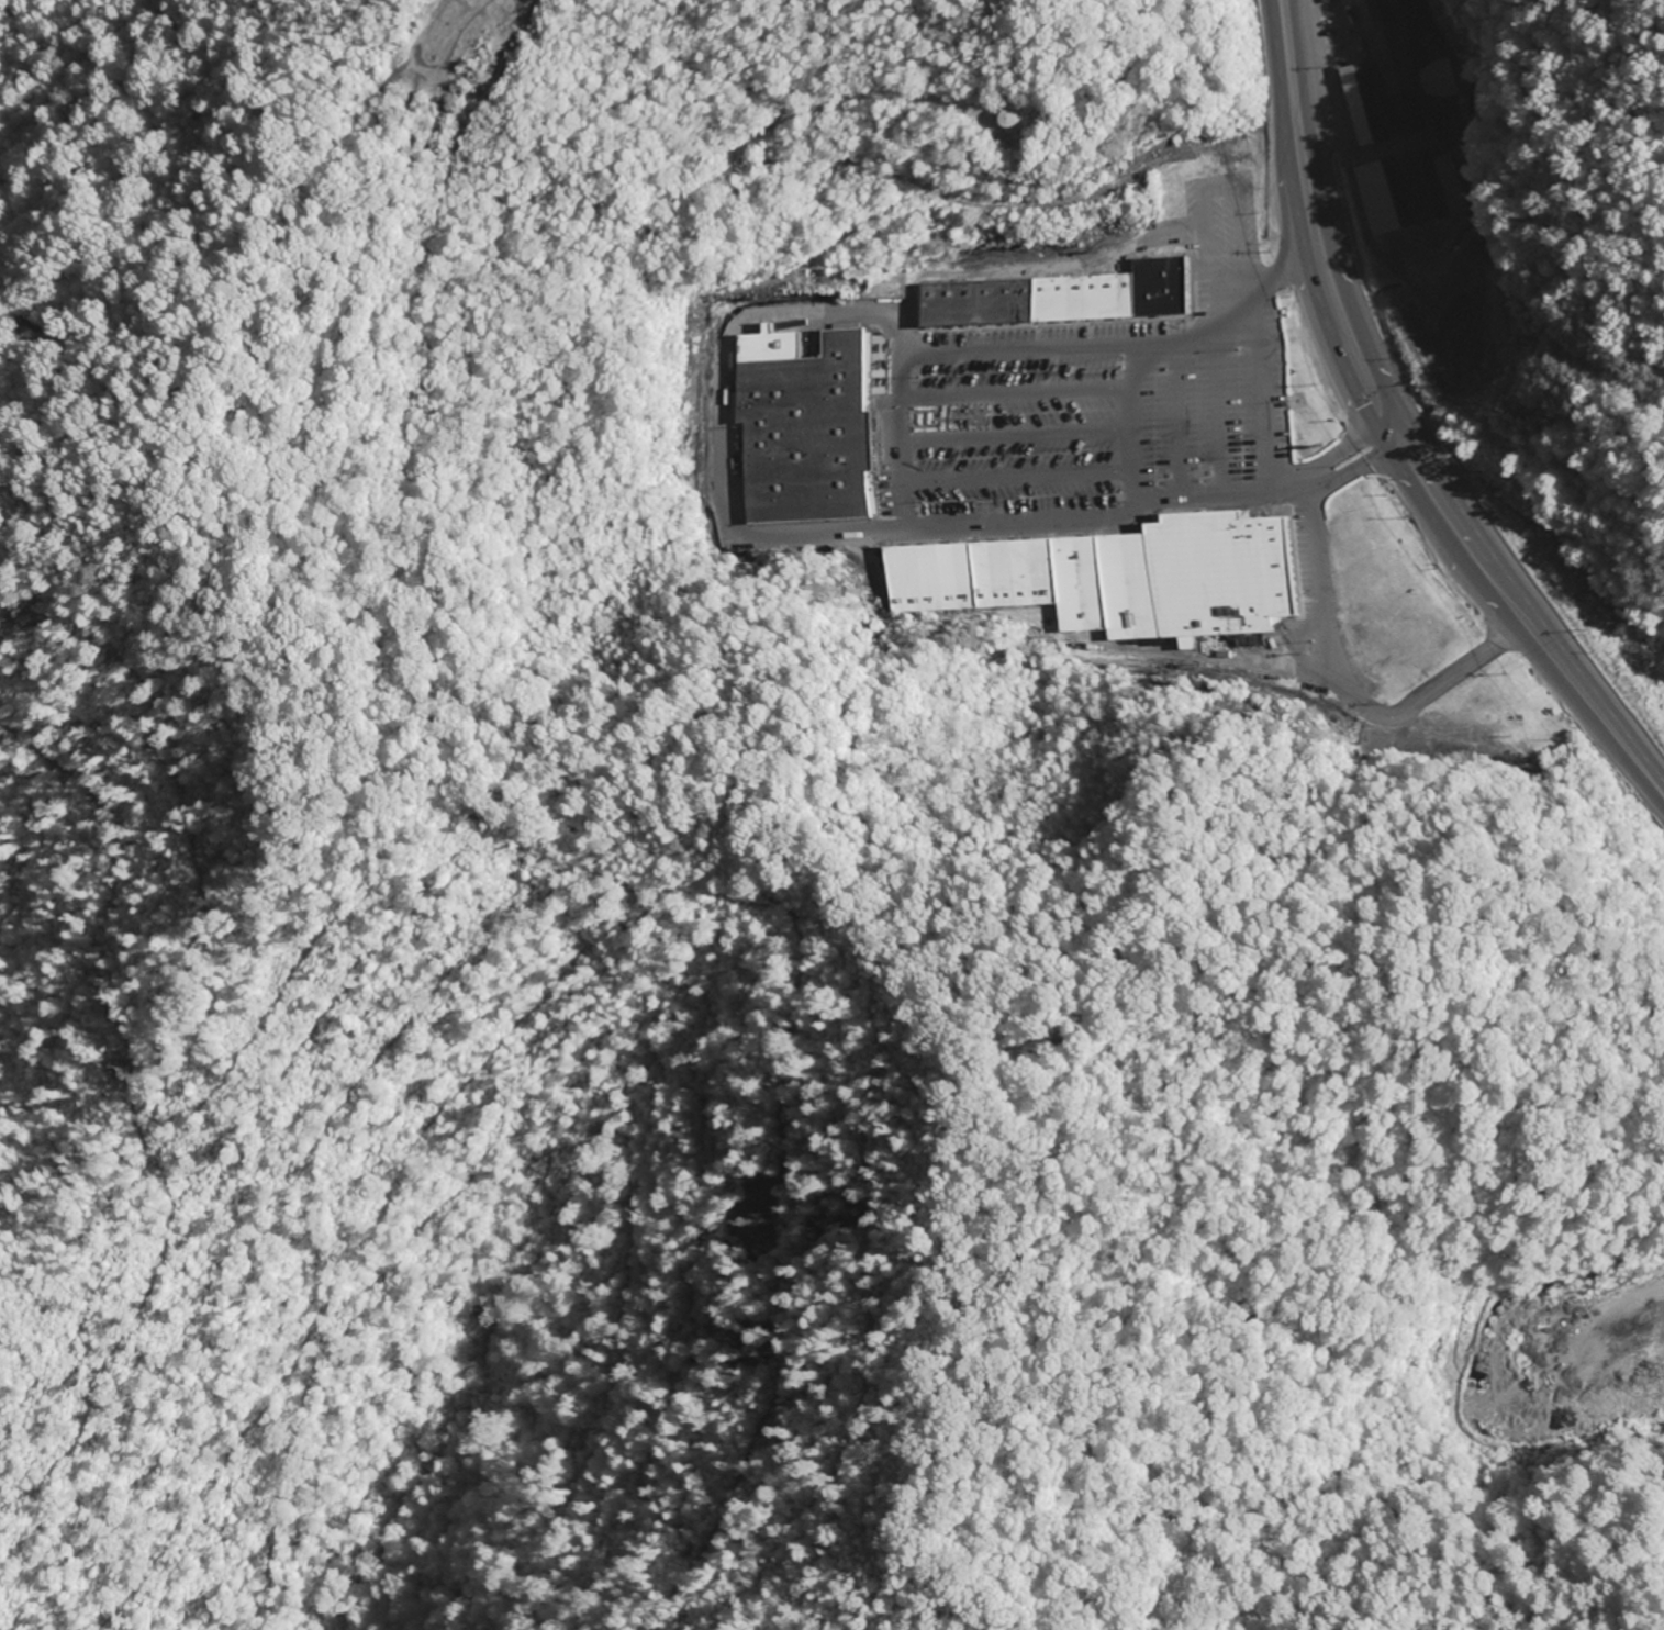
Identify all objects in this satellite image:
road: (79, 59)
building: (1409, 70)
road: (92, 90)
building: (1365, 104)
building: (1007, 120)
road: (1297, 125)
road: (1206, 185)
building: (1433, 187)
building: (1383, 198)
road: (1288, 272)
building: (1056, 295)
road: (1086, 347)
parking lot: (1113, 392)
road: (1019, 394)
road: (1266, 397)
road: (1222, 412)
road: (902, 416)
road: (1180, 421)
road: (1137, 423)
building: (809, 428)
traffic signals: (1397, 435)
road: (1020, 437)
road: (1023, 481)
road: (1275, 492)
road: (755, 536)
road: (1466, 539)
building: (1115, 578)
road: (1349, 694)

